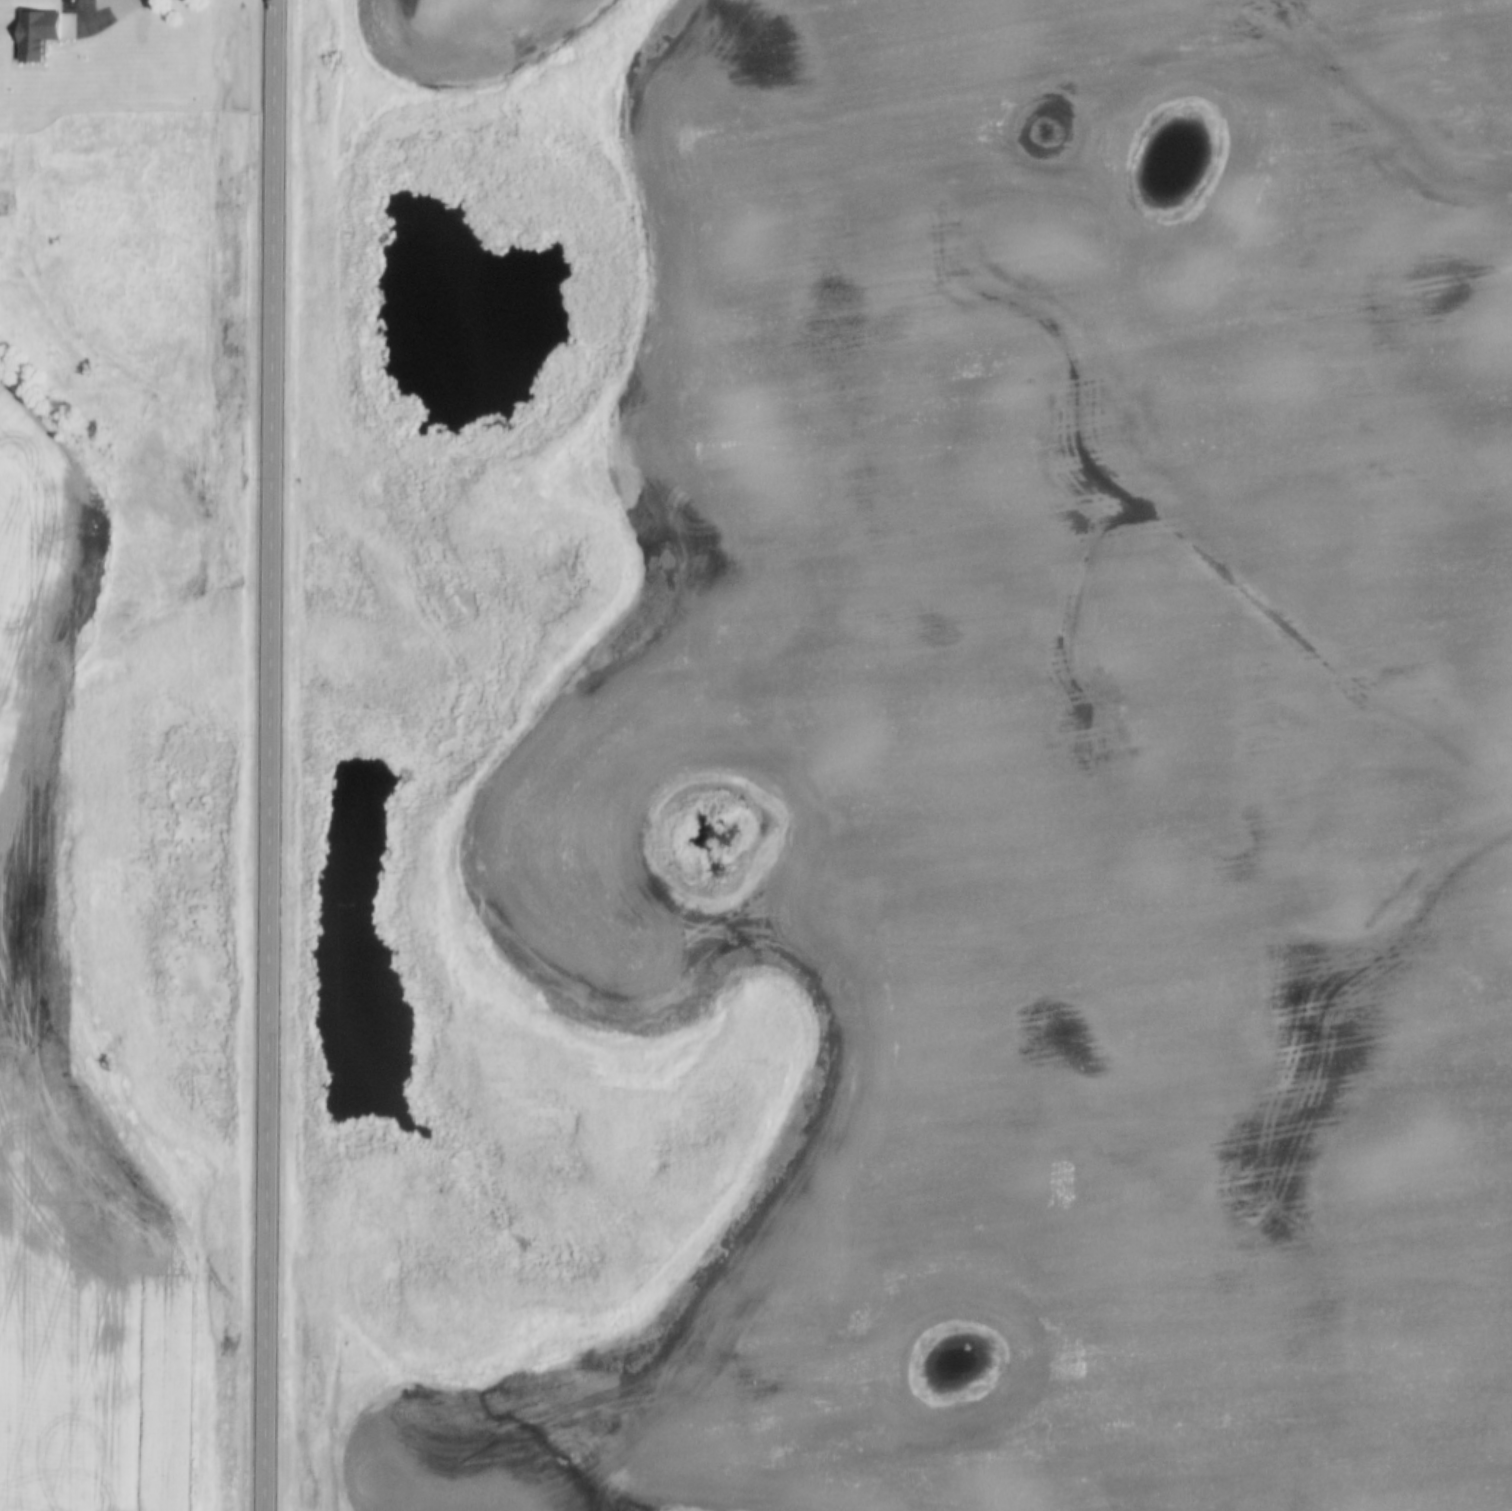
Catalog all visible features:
building: (36, 33)
road: (273, 755)

